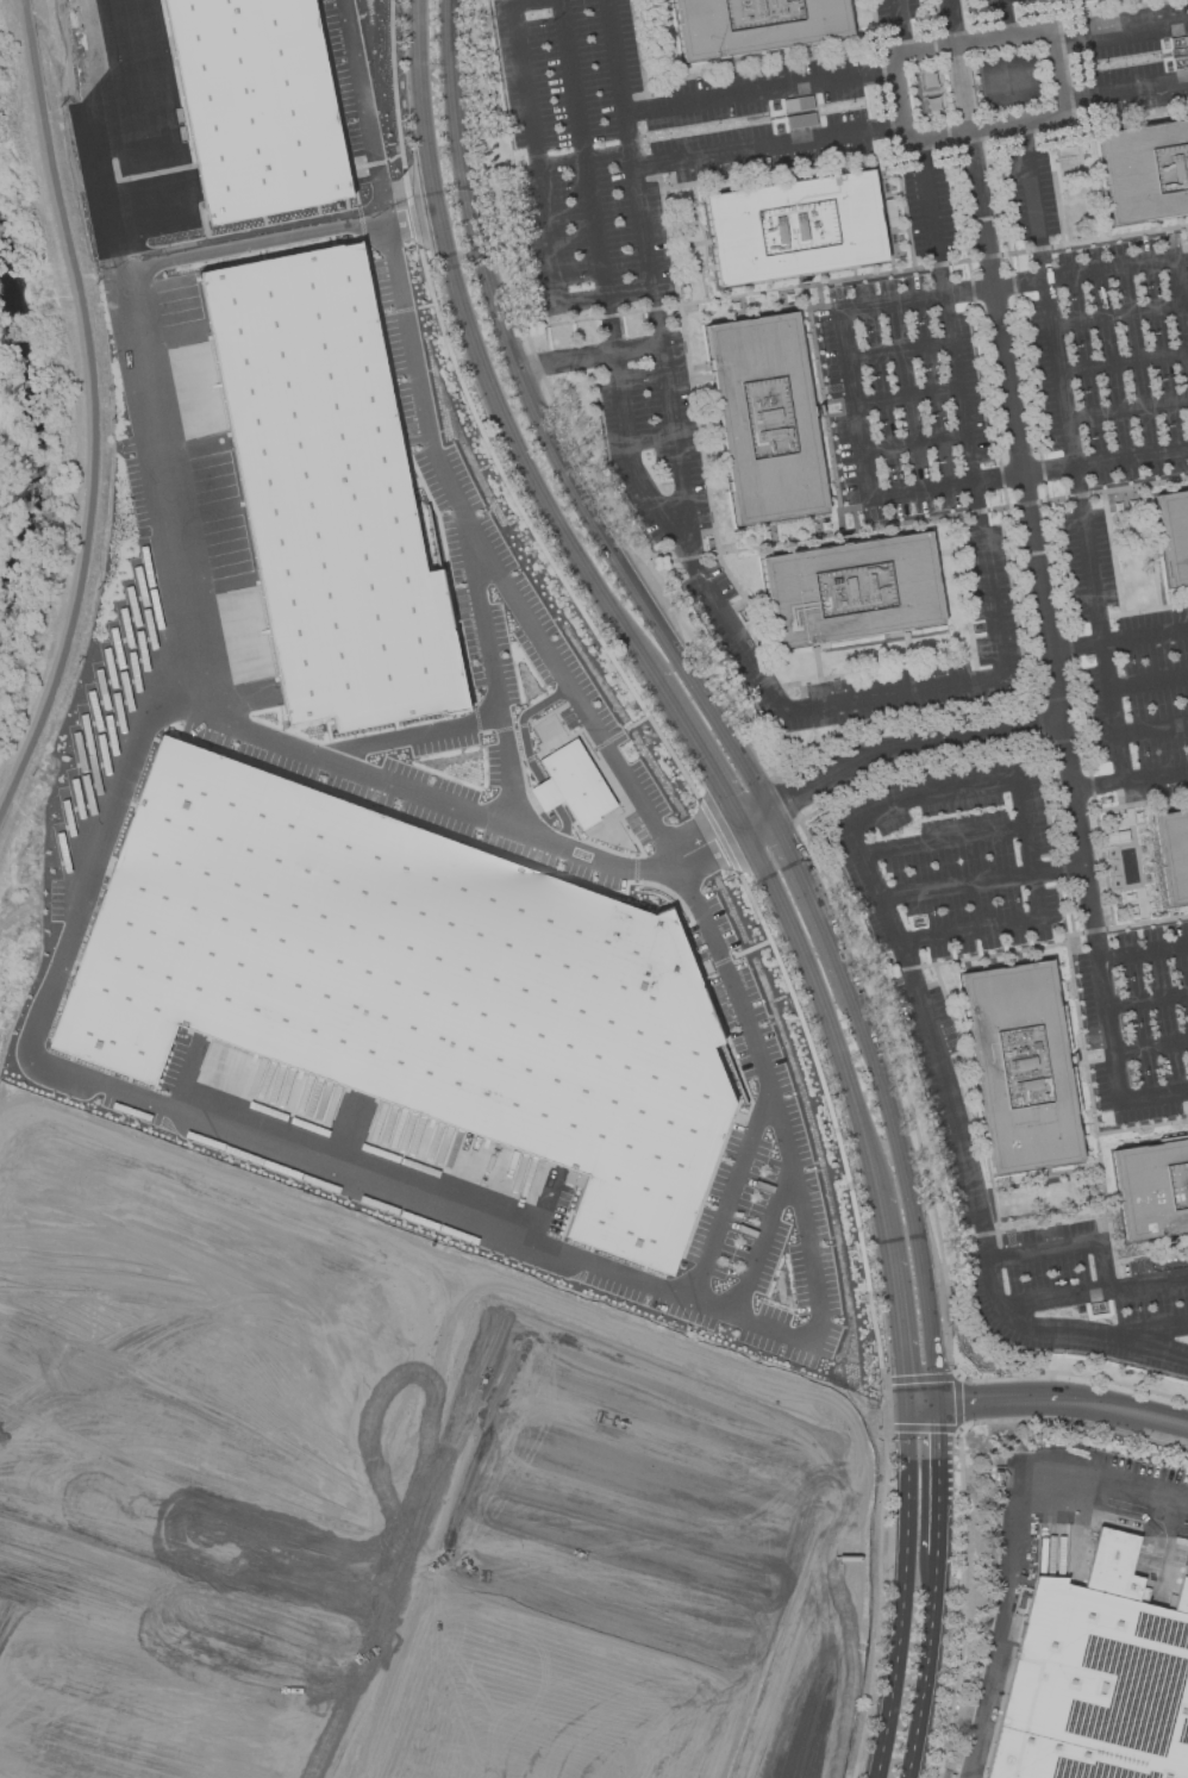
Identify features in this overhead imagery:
road: (21, 13)
road: (1005, 18)
road: (956, 21)
road: (901, 25)
building: (754, 26)
road: (1120, 37)
road: (984, 38)
road: (1124, 85)
road: (967, 87)
road: (761, 94)
building: (256, 105)
road: (361, 112)
building: (800, 120)
road: (113, 138)
road: (769, 145)
road: (924, 146)
road: (533, 154)
building: (1145, 170)
building: (106, 174)
road: (486, 187)
road: (931, 216)
road: (409, 220)
building: (794, 229)
road: (254, 241)
road: (1153, 261)
road: (856, 276)
road: (1021, 282)
road: (605, 286)
road: (1117, 313)
road: (900, 348)
road: (475, 354)
road: (587, 357)
road: (1125, 362)
road: (907, 397)
road: (693, 398)
road: (856, 401)
road: (1128, 411)
road: (98, 414)
building: (765, 418)
road: (540, 430)
river: (37, 432)
road: (914, 441)
road: (1075, 453)
road: (1132, 456)
road: (1050, 468)
building: (325, 493)
road: (912, 522)
road: (1052, 531)
building: (1174, 534)
road: (1011, 538)
road: (1034, 545)
road: (944, 551)
building: (850, 589)
road: (504, 593)
road: (963, 593)
road: (486, 635)
road: (1119, 640)
road: (907, 647)
road: (749, 653)
road: (817, 661)
road: (876, 669)
road: (1150, 684)
road: (468, 723)
road: (235, 724)
road: (1153, 730)
road: (694, 748)
road: (893, 750)
road: (1131, 781)
road: (1006, 782)
building: (571, 785)
road: (1142, 803)
road: (942, 840)
building: (1174, 853)
road: (1058, 869)
road: (956, 885)
road: (807, 893)
road: (967, 959)
road: (811, 982)
building: (407, 986)
road: (1146, 993)
road: (1107, 1022)
road: (1149, 1046)
building: (1020, 1067)
road: (1086, 1073)
road: (1142, 1127)
road: (869, 1168)
road: (906, 1189)
building: (1152, 1189)
road: (726, 1196)
road: (445, 1212)
road: (981, 1218)
road: (1023, 1228)
road: (759, 1240)
road: (1067, 1248)
road: (225, 1256)
road: (409, 1272)
road: (1093, 1291)
road: (894, 1298)
road: (58, 1321)
road: (1150, 1330)
road: (1070, 1373)
traffic signals: (902, 1374)
road: (243, 1400)
road: (998, 1402)
traffic signals: (963, 1404)
road: (920, 1406)
road: (1125, 1415)
traffic signals: (937, 1431)
road: (406, 1447)
road: (80, 1449)
road: (936, 1479)
road: (129, 1515)
road: (242, 1539)
road: (1012, 1543)
building: (599, 1577)
road: (298, 1591)
road: (901, 1593)
road: (804, 1597)
road: (924, 1666)
building: (1095, 1679)
road: (264, 1685)
road: (317, 1693)
road: (20, 1770)

